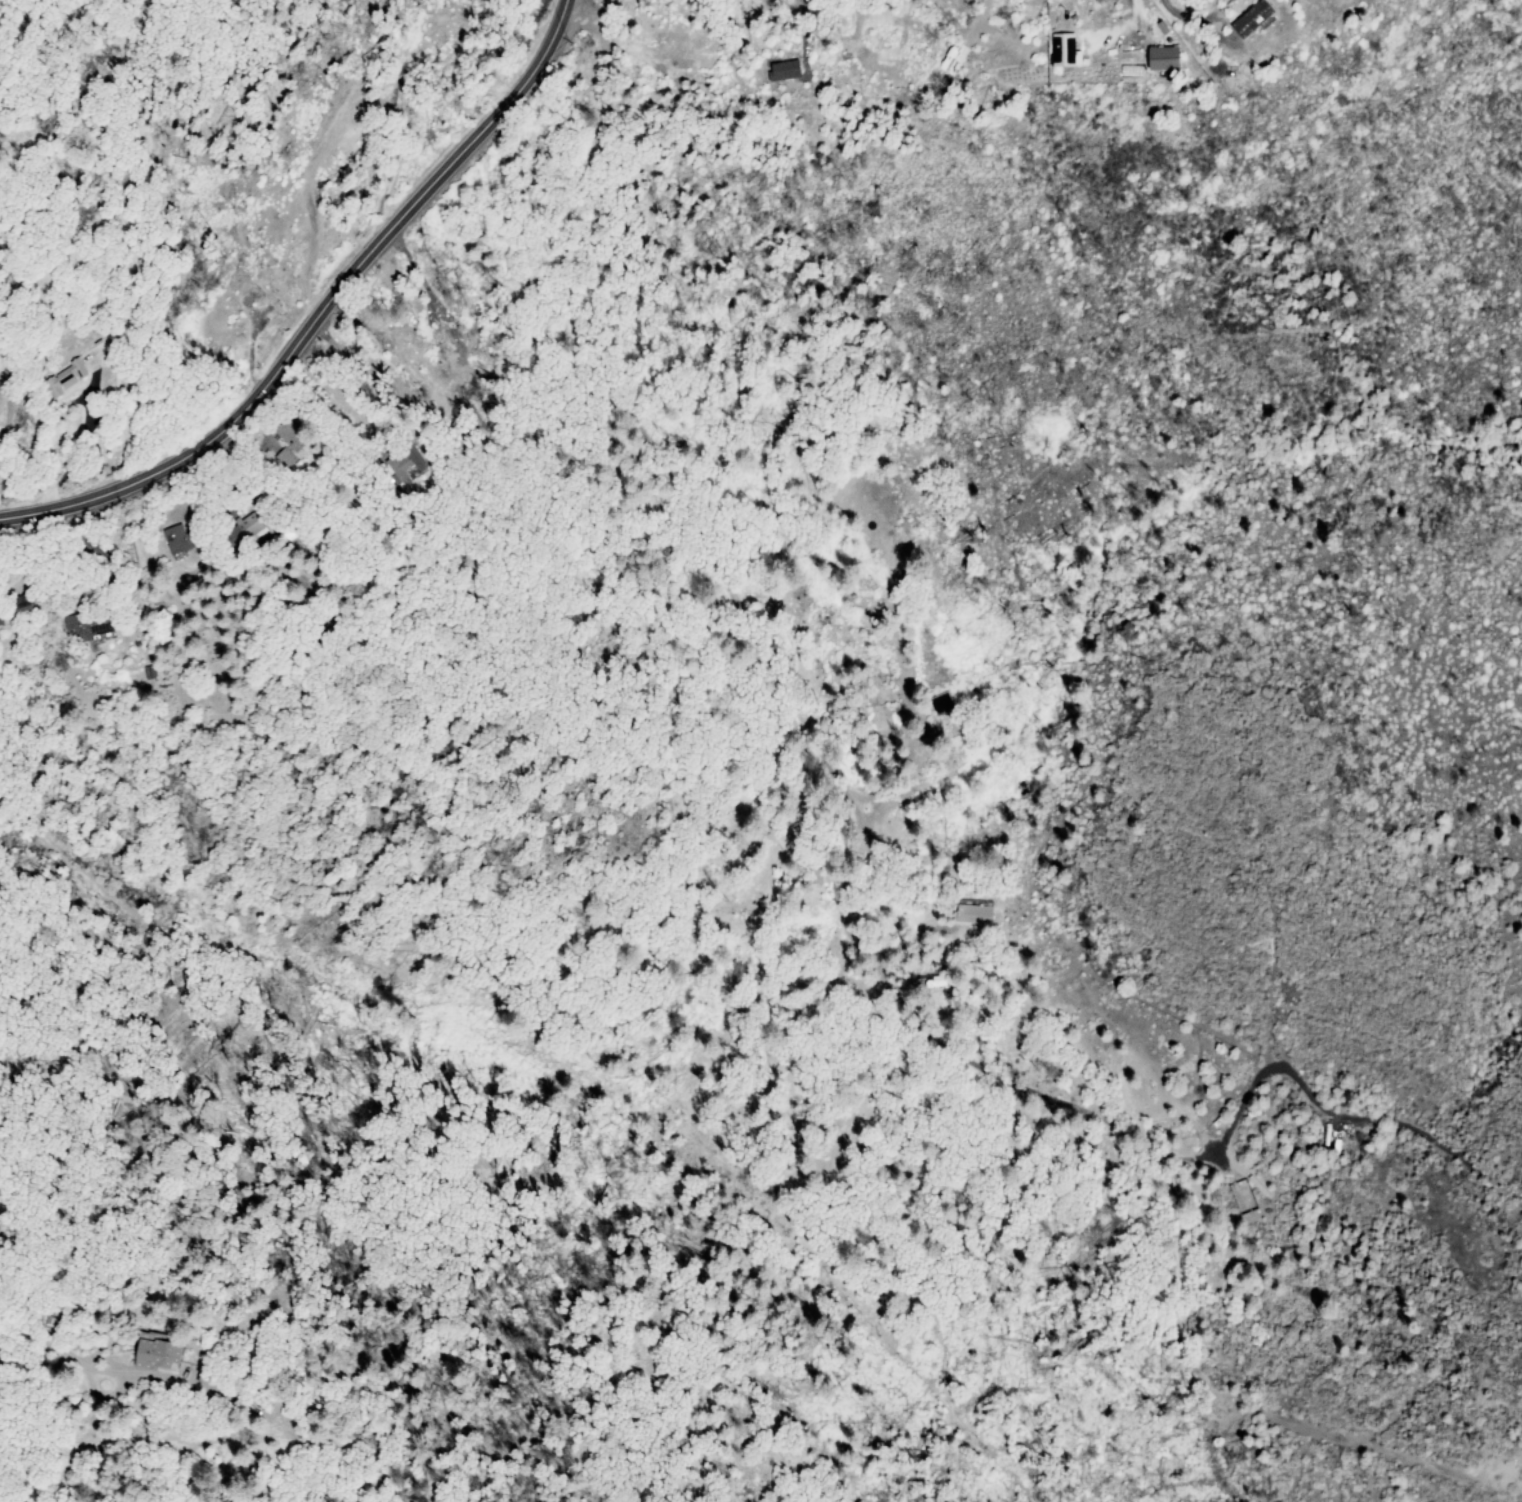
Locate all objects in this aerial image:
building: (1250, 19)
building: (1062, 50)
building: (1162, 58)
building: (797, 68)
road: (323, 311)
building: (66, 379)
building: (288, 444)
building: (401, 465)
building: (253, 526)
building: (179, 537)
building: (20, 604)
building: (0, 622)
building: (88, 622)
building: (150, 670)
building: (947, 714)
building: (973, 914)
building: (1253, 1114)
building: (1218, 1121)
road: (783, 1238)
building: (158, 1355)
road: (1310, 1425)
road: (123, 1442)

